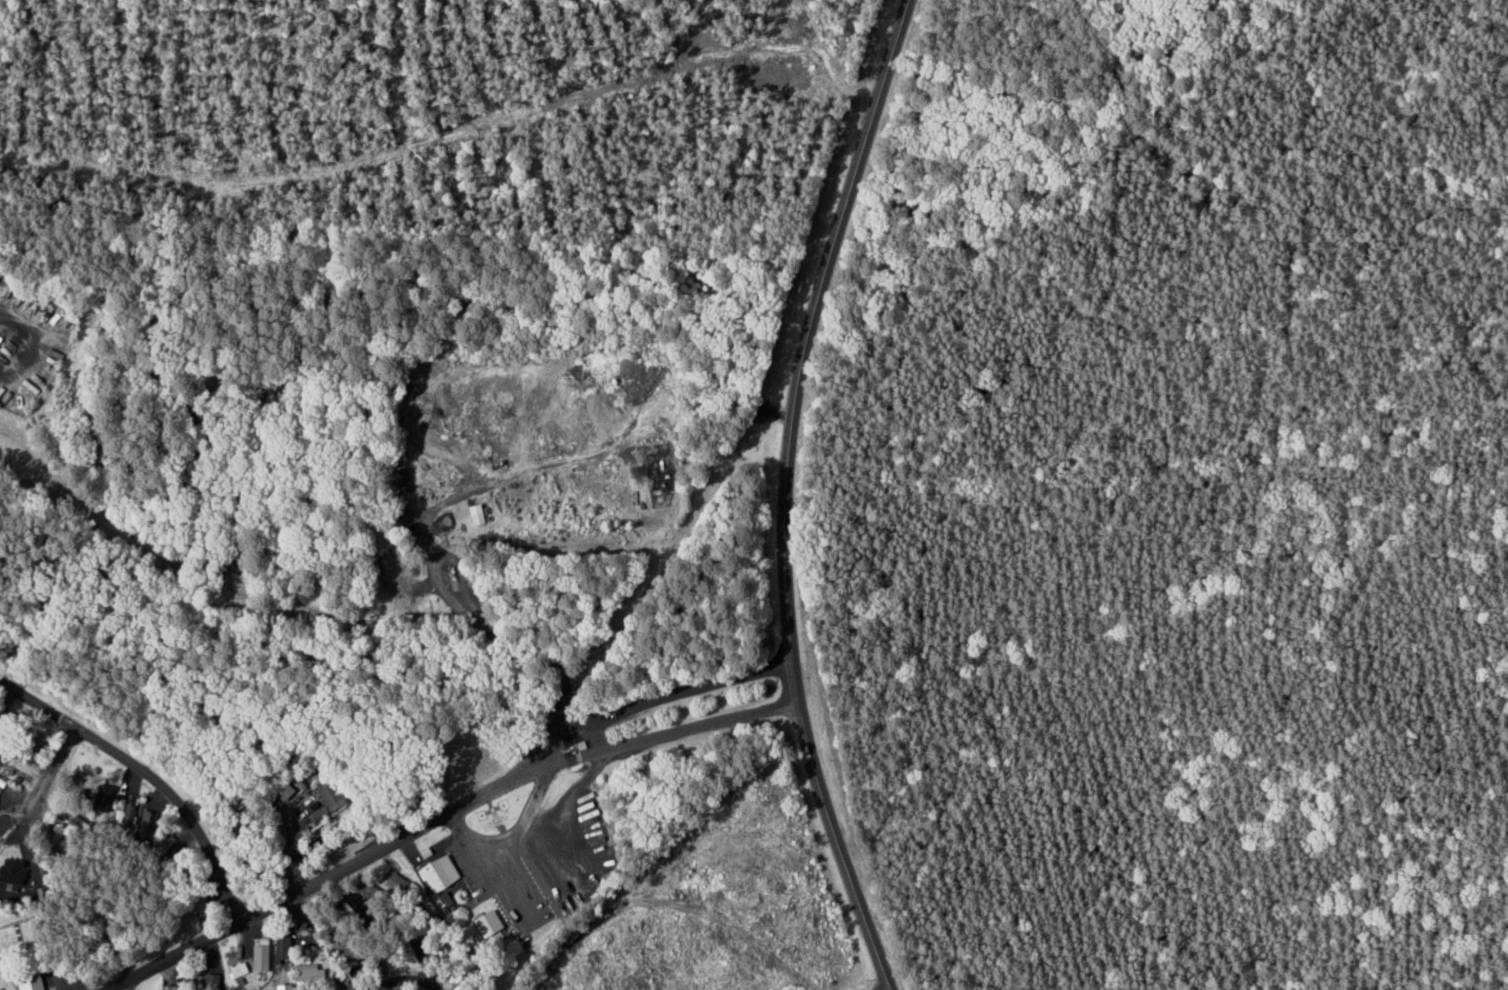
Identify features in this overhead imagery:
road: (785, 494)
building: (472, 513)
road: (664, 698)
road: (148, 773)
road: (96, 777)
building: (283, 791)
road: (562, 799)
building: (119, 802)
parking lot: (459, 835)
parking lot: (545, 852)
parking lot: (468, 867)
building: (436, 869)
building: (13, 873)
road: (326, 875)
road: (510, 882)
building: (192, 903)
building: (484, 922)
building: (280, 940)
building: (234, 970)
building: (303, 972)
building: (32, 982)
road: (407, 982)
road: (121, 987)
building: (164, 987)
building: (279, 987)

